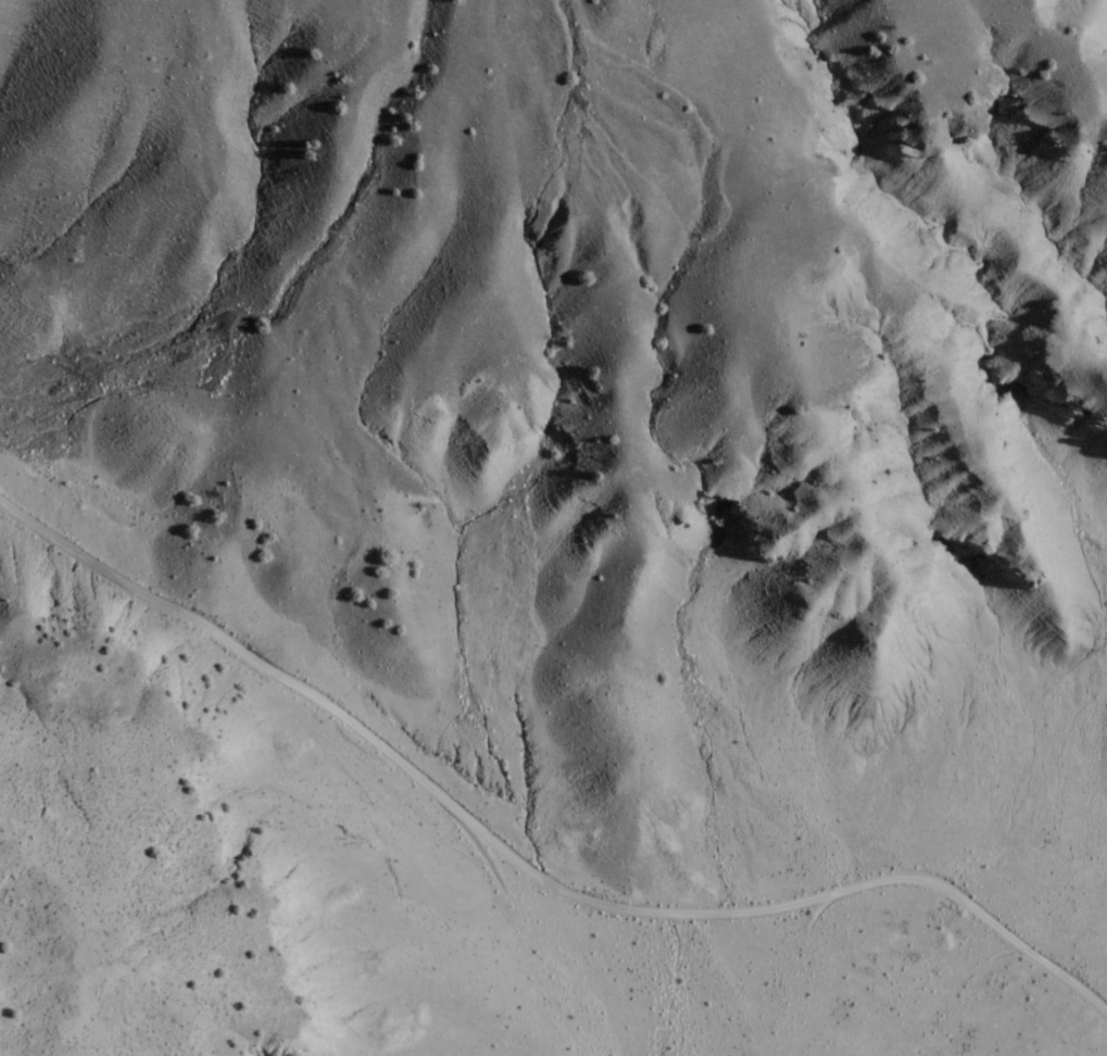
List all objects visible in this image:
road: (524, 866)

